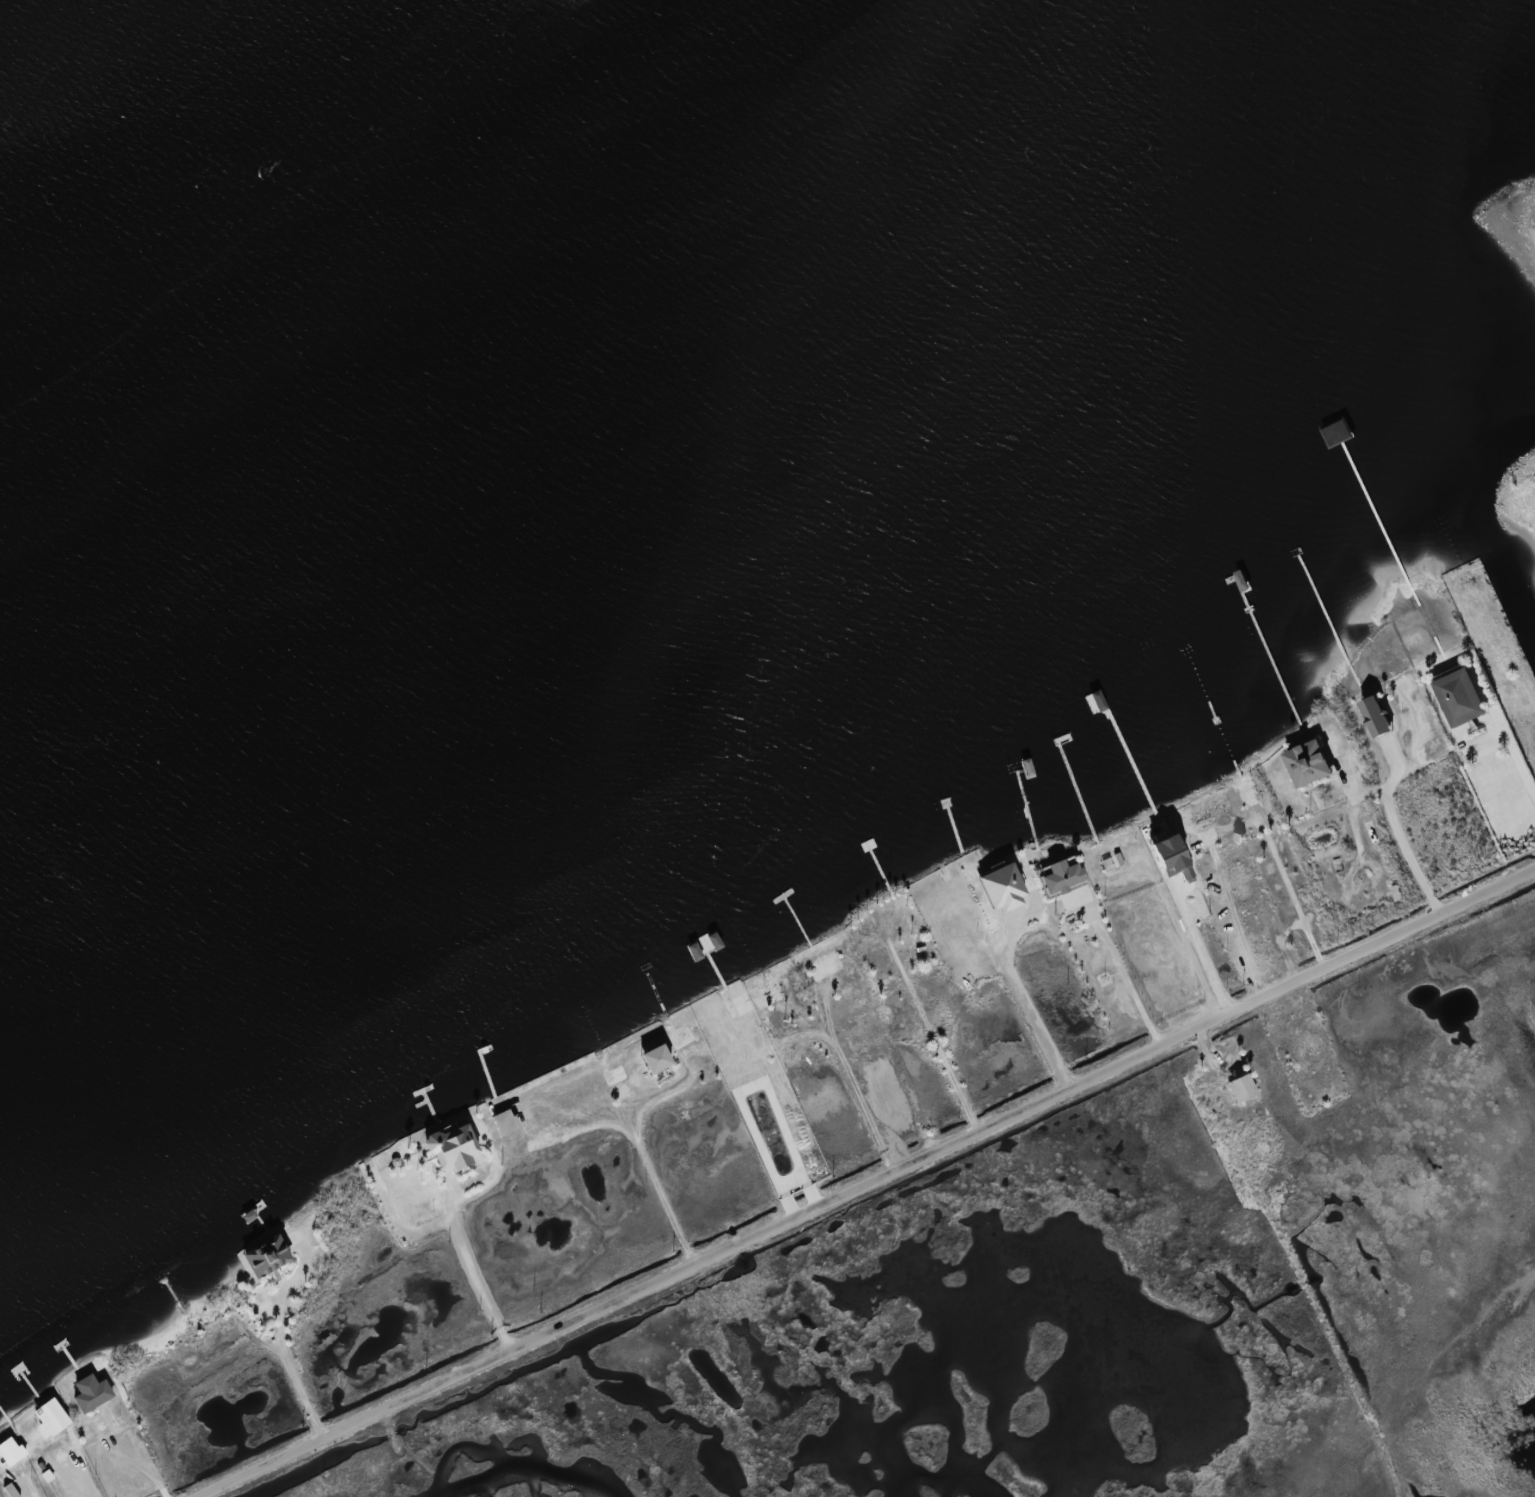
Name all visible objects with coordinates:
building: (1462, 697)
building: (1378, 717)
road: (1518, 762)
building: (1310, 764)
road: (1400, 826)
building: (1170, 858)
building: (1061, 878)
building: (1002, 888)
building: (1076, 897)
road: (1125, 980)
road: (1028, 1006)
building: (656, 1059)
building: (1241, 1088)
building: (505, 1122)
building: (453, 1148)
road: (867, 1181)
road: (472, 1270)
road: (291, 1351)
building: (92, 1393)
building: (51, 1418)
building: (11, 1451)

